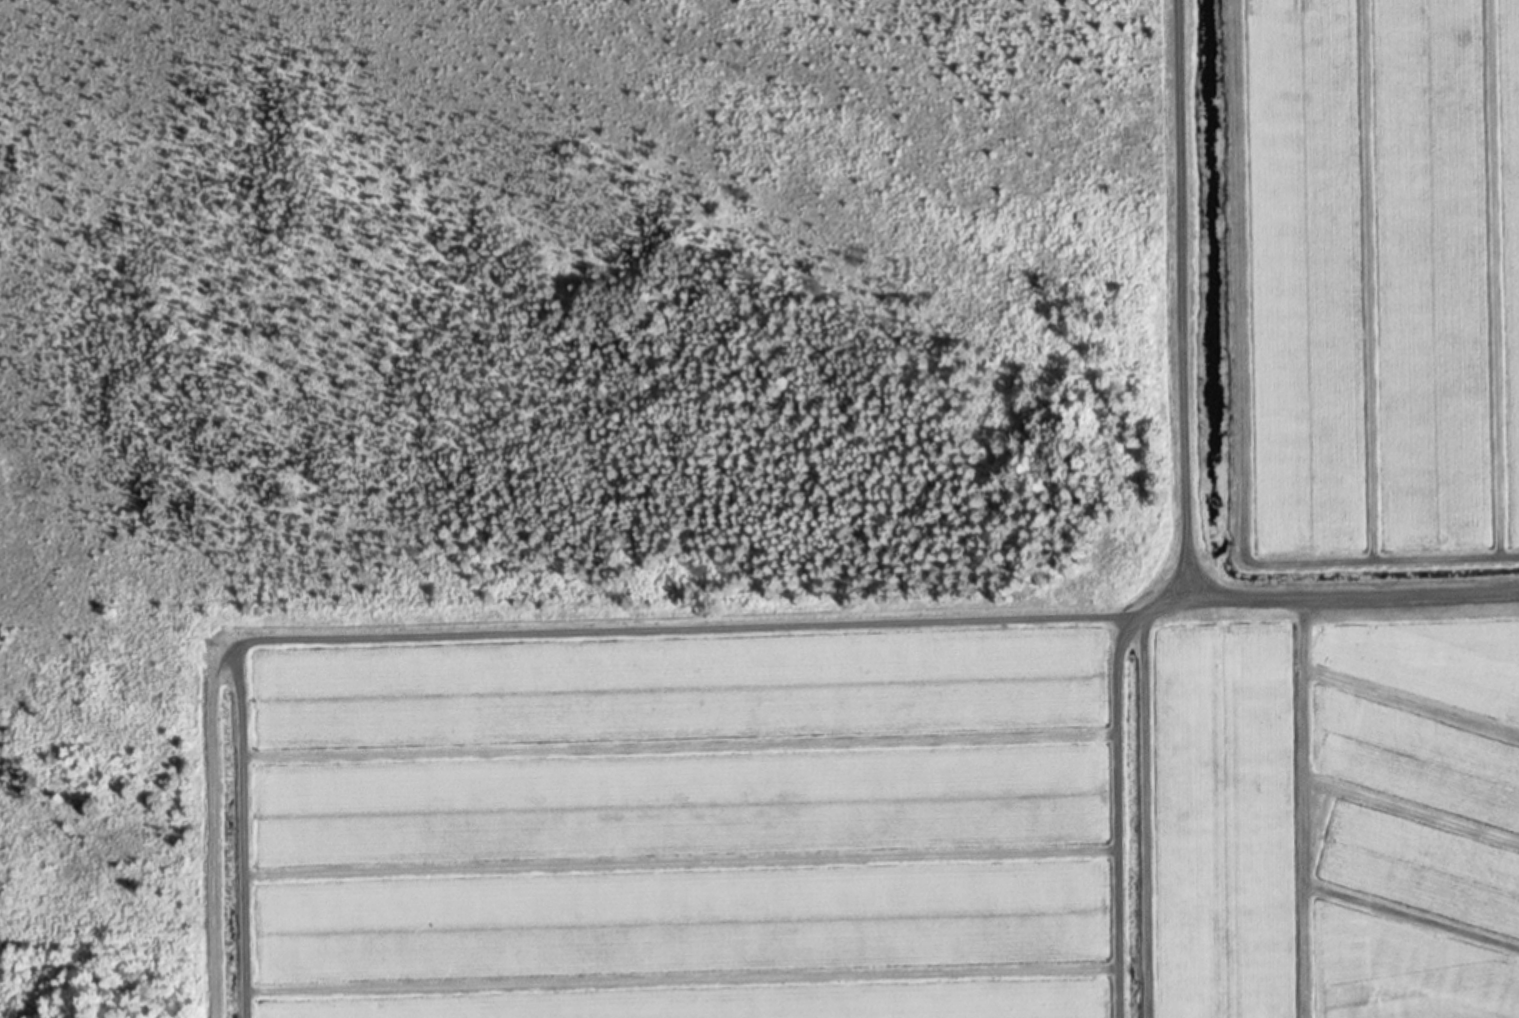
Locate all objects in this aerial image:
crop: (1013, 662)

